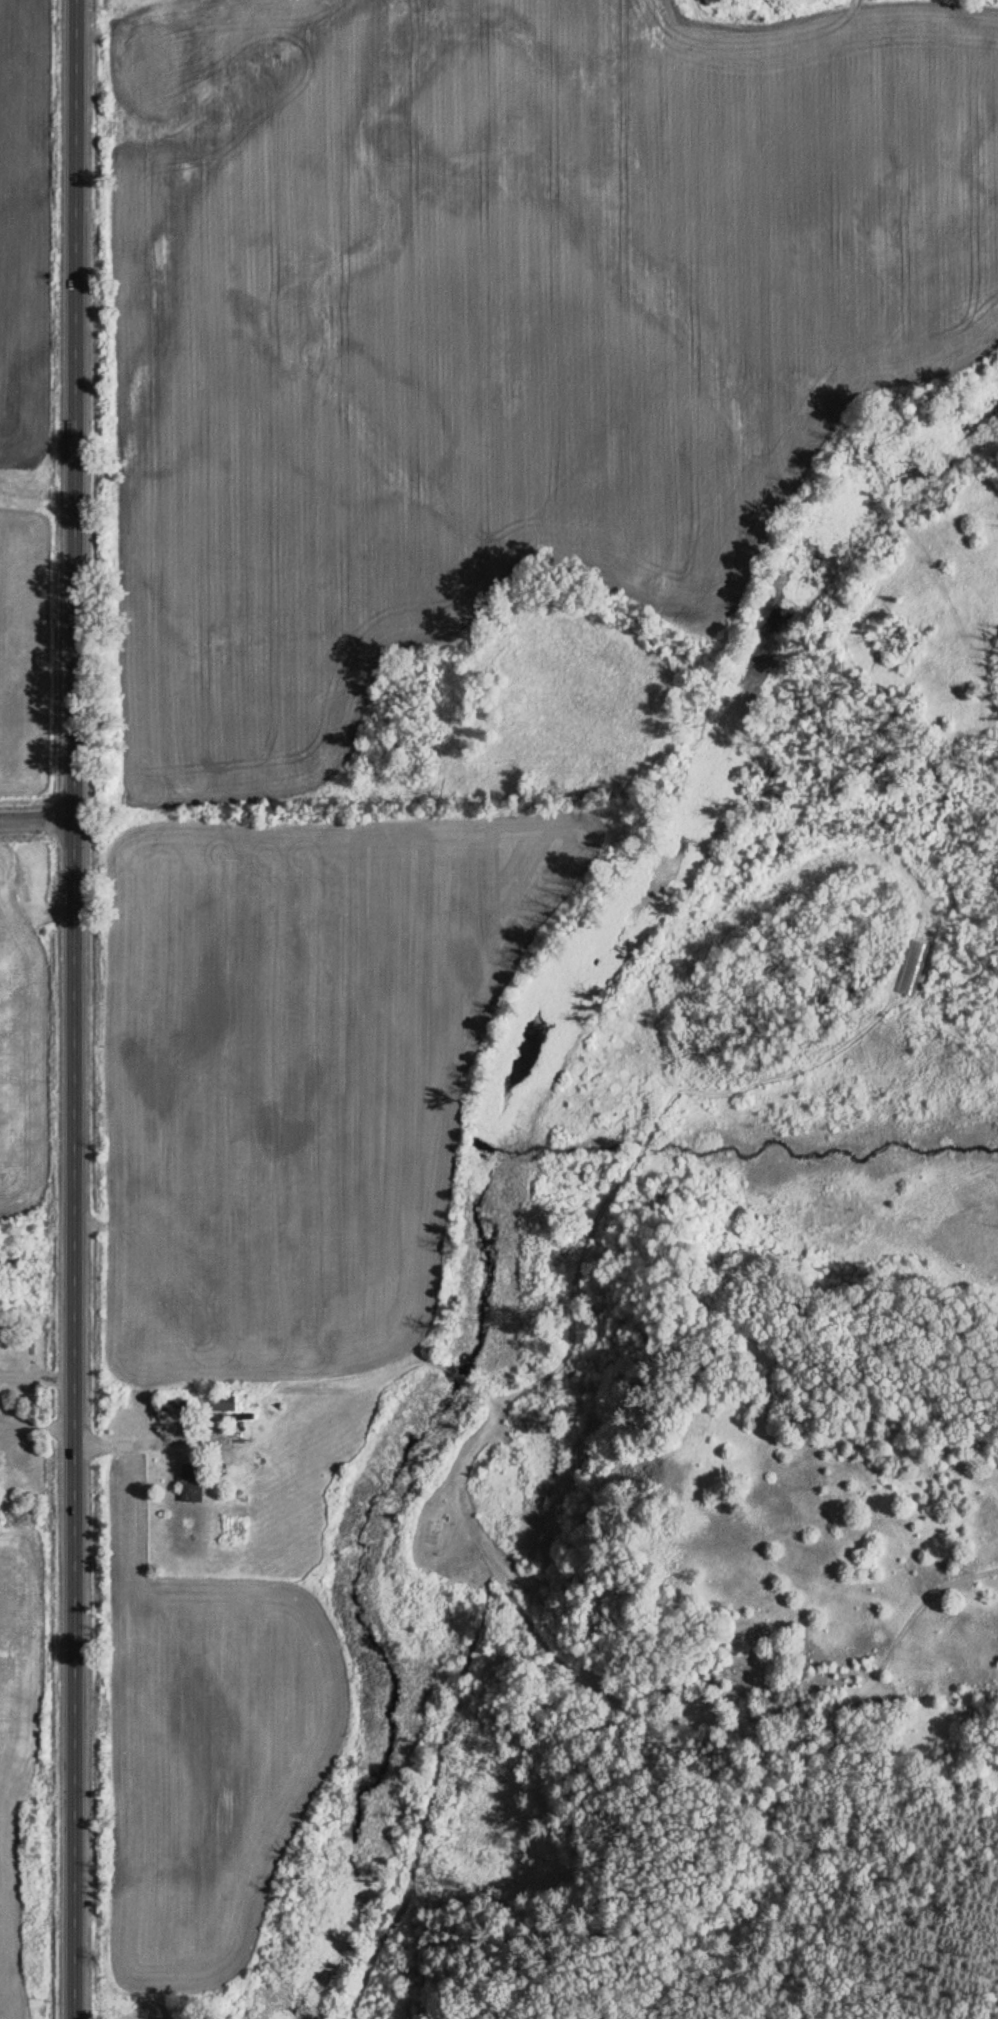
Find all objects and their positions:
road: (38, 820)
road: (74, 1009)
road: (37, 1374)
building: (226, 1401)
building: (177, 1408)
road: (38, 1422)
road: (129, 1441)
building: (195, 1482)

